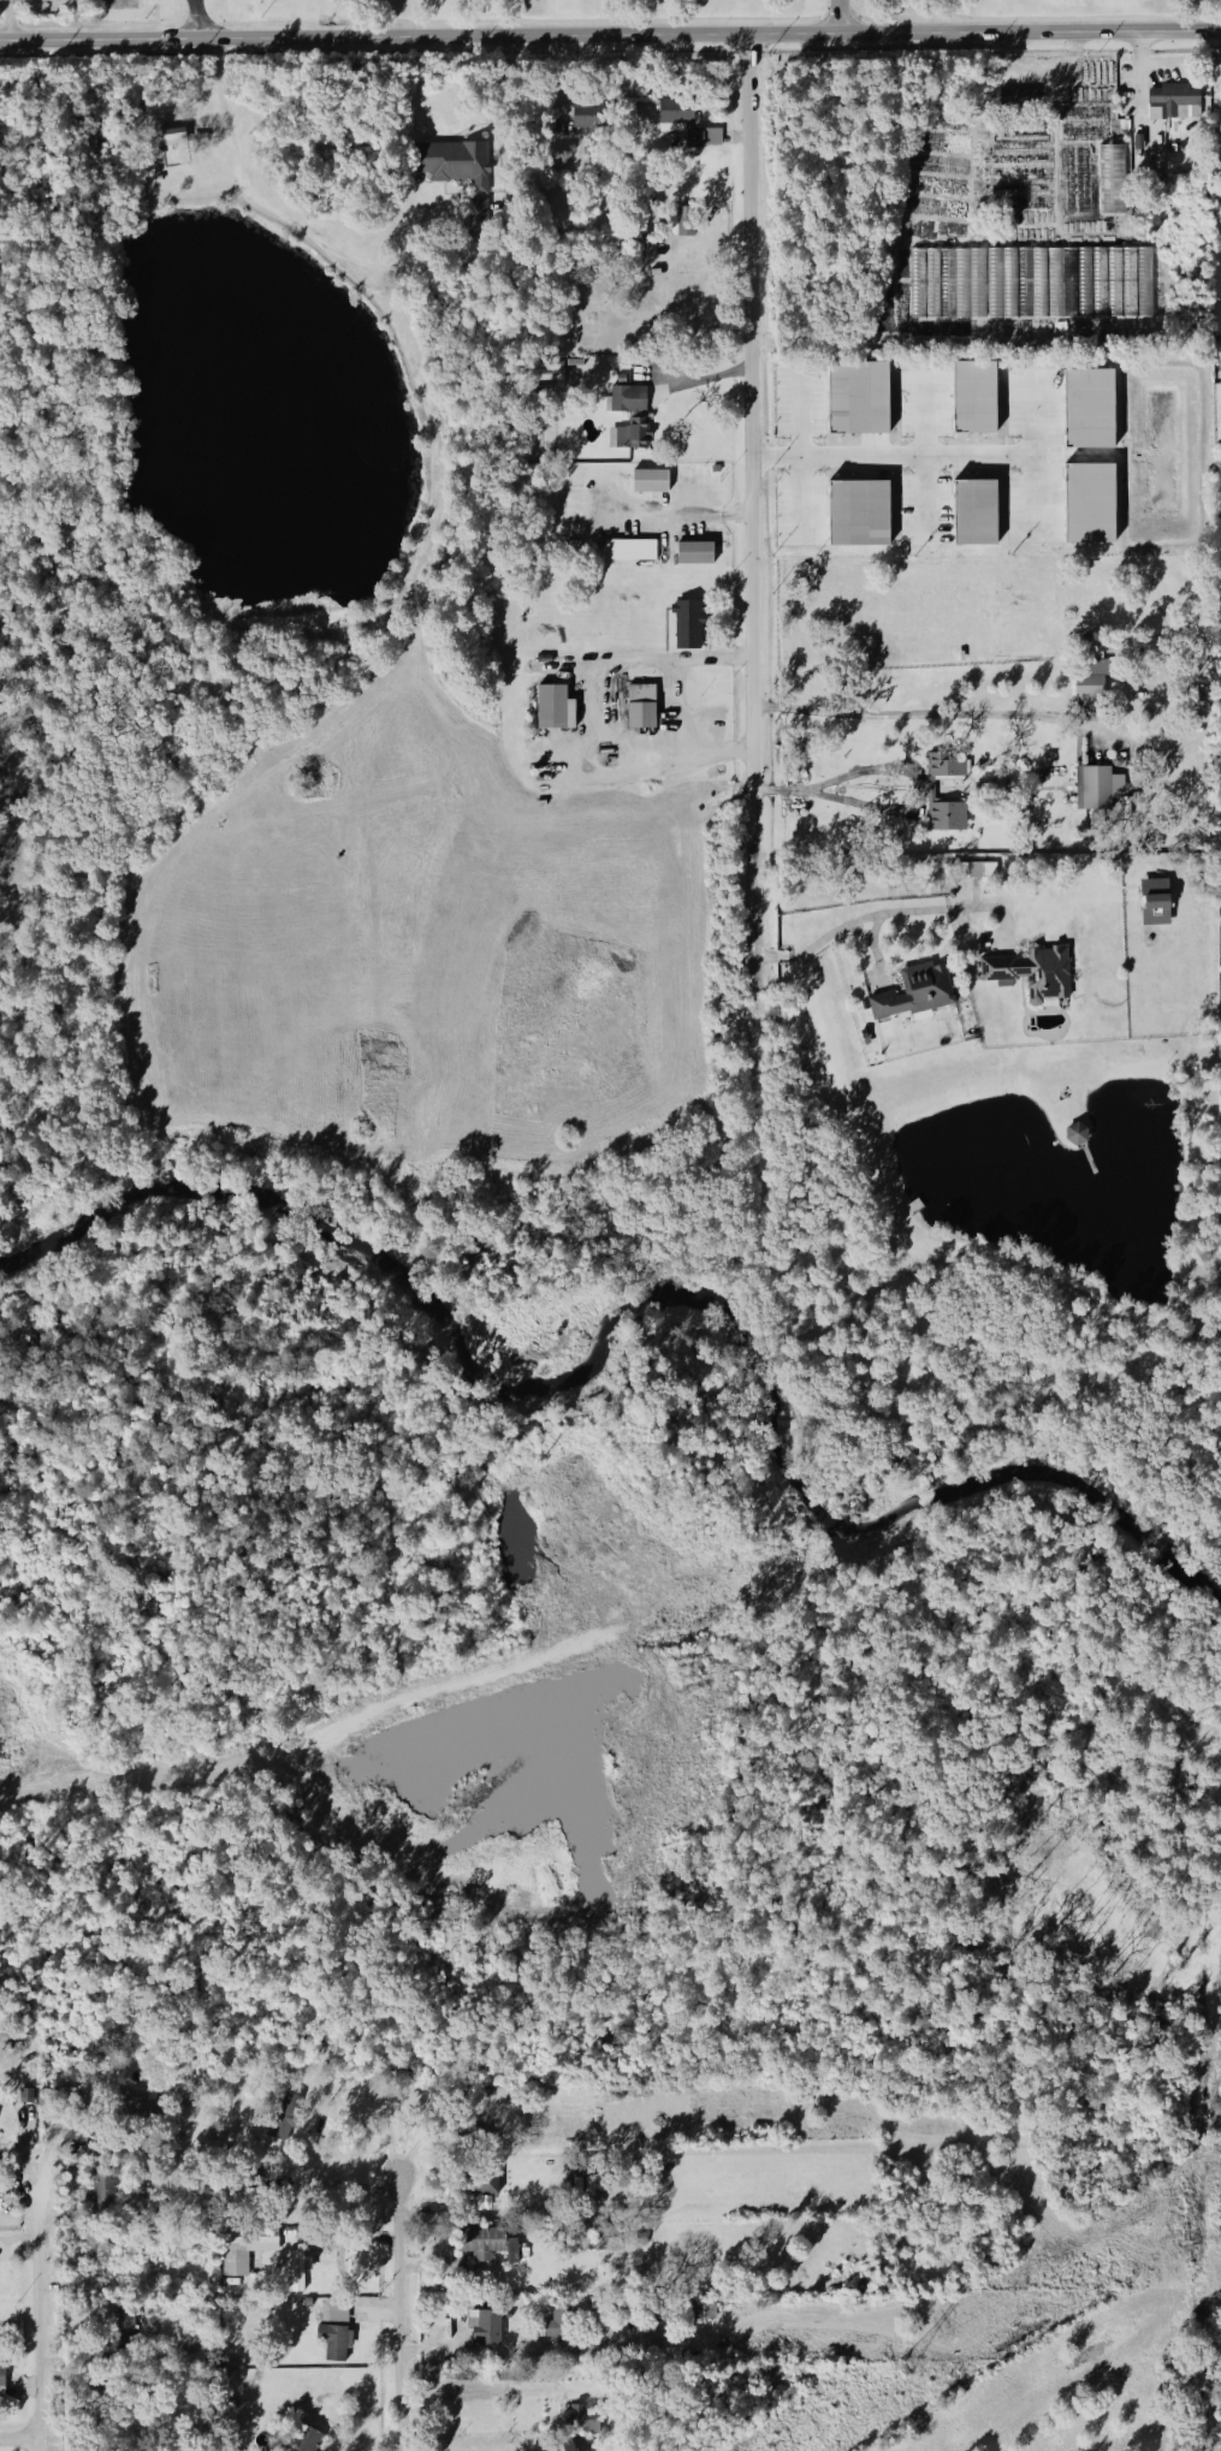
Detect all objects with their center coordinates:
road: (195, 4)
road: (836, 17)
road: (11, 19)
road: (610, 35)
road: (1133, 84)
road: (499, 99)
building: (1172, 103)
building: (574, 118)
building: (676, 124)
building: (167, 138)
building: (1109, 180)
building: (678, 222)
road: (345, 250)
building: (1029, 284)
building: (546, 376)
building: (621, 378)
road: (705, 380)
building: (973, 397)
building: (628, 398)
building: (858, 398)
building: (1087, 409)
road: (927, 459)
building: (650, 481)
building: (1089, 504)
building: (974, 511)
building: (858, 512)
road: (677, 522)
building: (629, 550)
building: (695, 553)
building: (684, 625)
road: (759, 635)
road: (647, 663)
building: (1086, 684)
road: (594, 699)
building: (551, 706)
building: (638, 707)
road: (674, 712)
road: (924, 713)
road: (675, 761)
building: (943, 766)
road: (869, 770)
road: (923, 788)
building: (1095, 789)
road: (844, 801)
building: (936, 809)
building: (973, 871)
building: (1154, 901)
road: (877, 915)
building: (1030, 974)
building: (912, 993)
building: (1073, 1135)
river: (645, 1304)
building: (582, 2186)
building: (101, 2194)
building: (485, 2245)
building: (243, 2250)
building: (296, 2271)
building: (332, 2314)
road: (399, 2314)
road: (38, 2316)
building: (482, 2327)
building: (552, 2327)
park: (1215, 2330)
building: (331, 2342)
road: (520, 2350)
power tower: (900, 2373)
building: (0, 2381)
building: (576, 2422)
road: (19, 2438)
building: (306, 2440)
building: (573, 2445)
building: (274, 2450)

